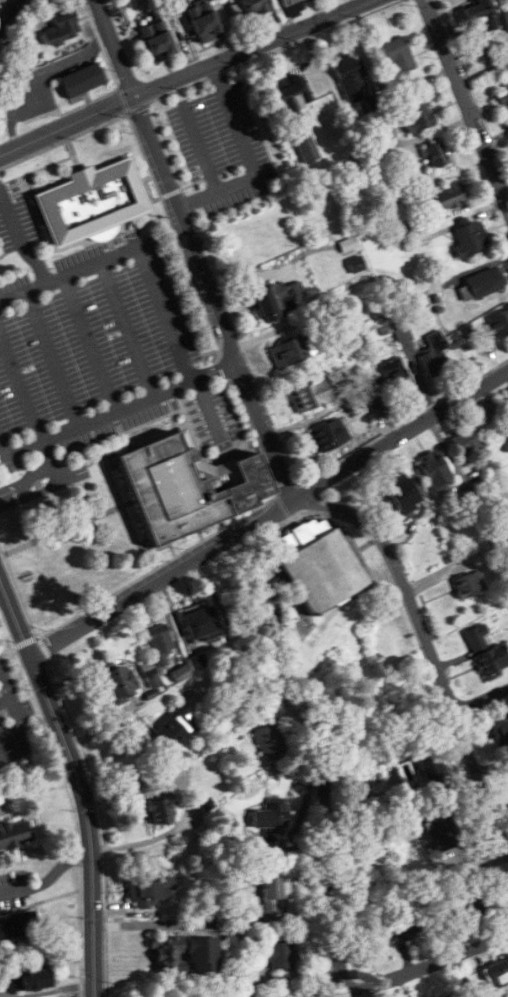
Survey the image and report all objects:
building: (288, 2)
building: (251, 8)
railway: (9, 13)
building: (205, 21)
building: (482, 26)
building: (61, 32)
building: (158, 41)
building: (397, 54)
road: (183, 77)
building: (82, 80)
building: (350, 80)
building: (292, 92)
road: (467, 99)
building: (502, 103)
building: (417, 116)
building: (305, 143)
parking lot: (223, 146)
road: (203, 151)
building: (436, 156)
road: (249, 157)
road: (170, 192)
building: (447, 198)
building: (90, 203)
parking lot: (15, 217)
building: (471, 238)
road: (20, 241)
building: (251, 244)
building: (348, 245)
road: (195, 249)
road: (133, 250)
building: (356, 264)
building: (486, 282)
building: (278, 300)
building: (499, 324)
road: (130, 328)
road: (92, 343)
building: (296, 350)
parking lot: (102, 352)
building: (435, 354)
road: (54, 358)
road: (216, 368)
building: (396, 378)
road: (21, 384)
building: (374, 391)
building: (311, 396)
road: (98, 419)
road: (412, 429)
building: (329, 436)
building: (465, 441)
building: (507, 447)
road: (41, 450)
building: (435, 470)
building: (186, 485)
road: (32, 487)
building: (402, 495)
road: (287, 502)
building: (320, 568)
building: (469, 585)
road: (146, 587)
building: (201, 626)
building: (161, 647)
road: (427, 648)
building: (487, 653)
building: (197, 663)
building: (117, 685)
building: (176, 728)
building: (501, 729)
road: (413, 730)
parking lot: (13, 735)
building: (269, 740)
road: (316, 752)
building: (432, 767)
road: (80, 779)
road: (38, 784)
building: (161, 810)
building: (269, 816)
building: (443, 828)
building: (16, 834)
road: (45, 867)
building: (151, 889)
building: (274, 892)
building: (475, 901)
building: (406, 925)
building: (18, 926)
building: (184, 955)
building: (276, 955)
road: (438, 962)
building: (499, 972)
building: (29, 977)
road: (360, 994)

